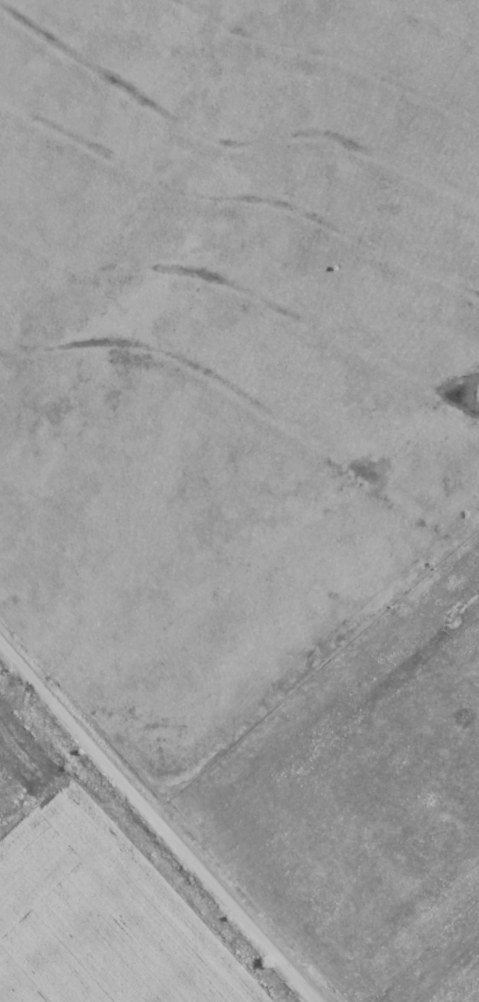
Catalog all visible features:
road: (160, 819)

